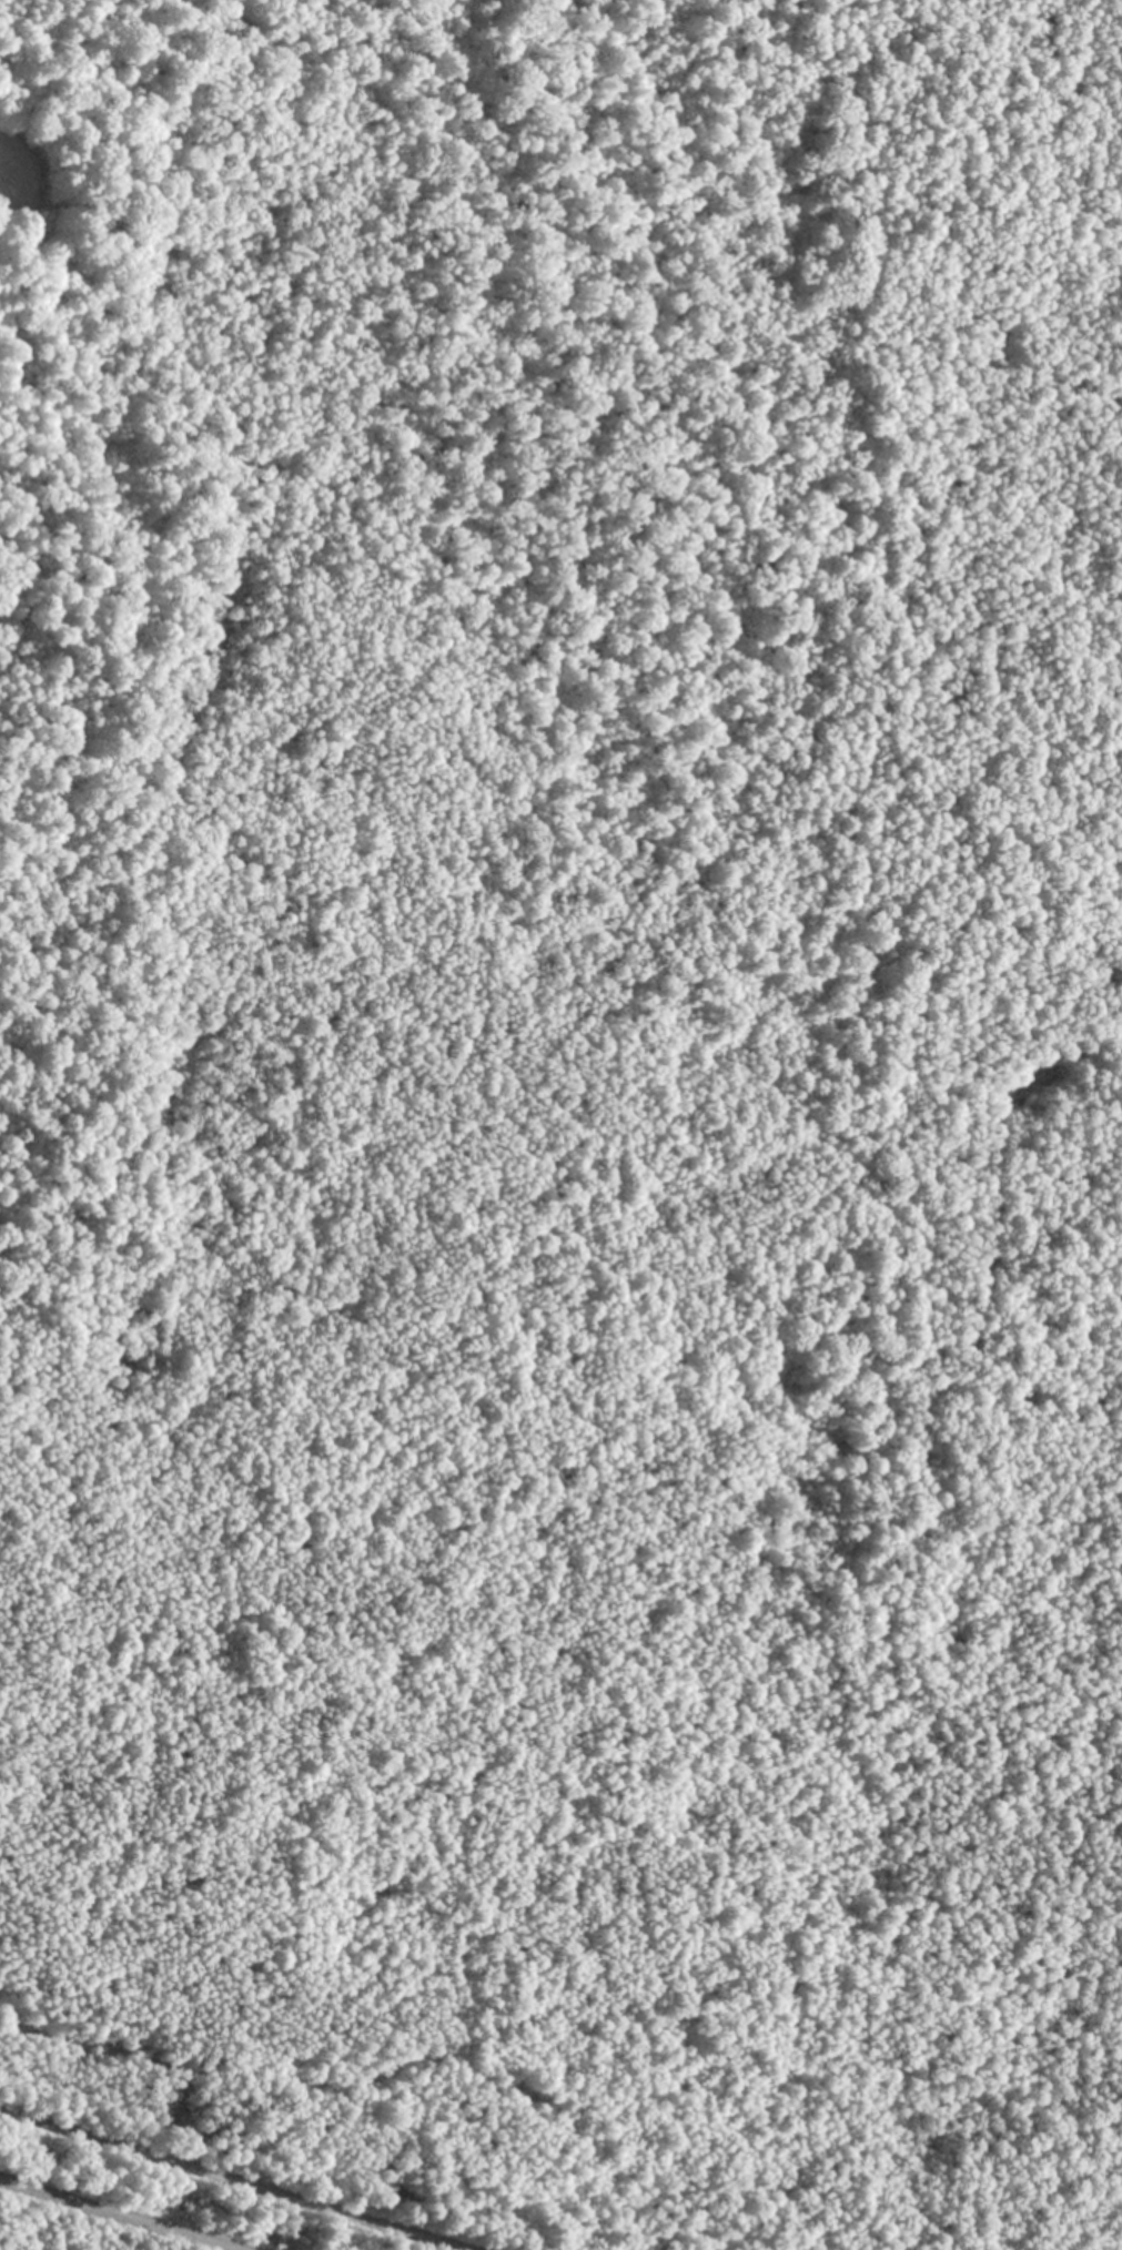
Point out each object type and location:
road: (225, 2181)
road: (119, 2213)

